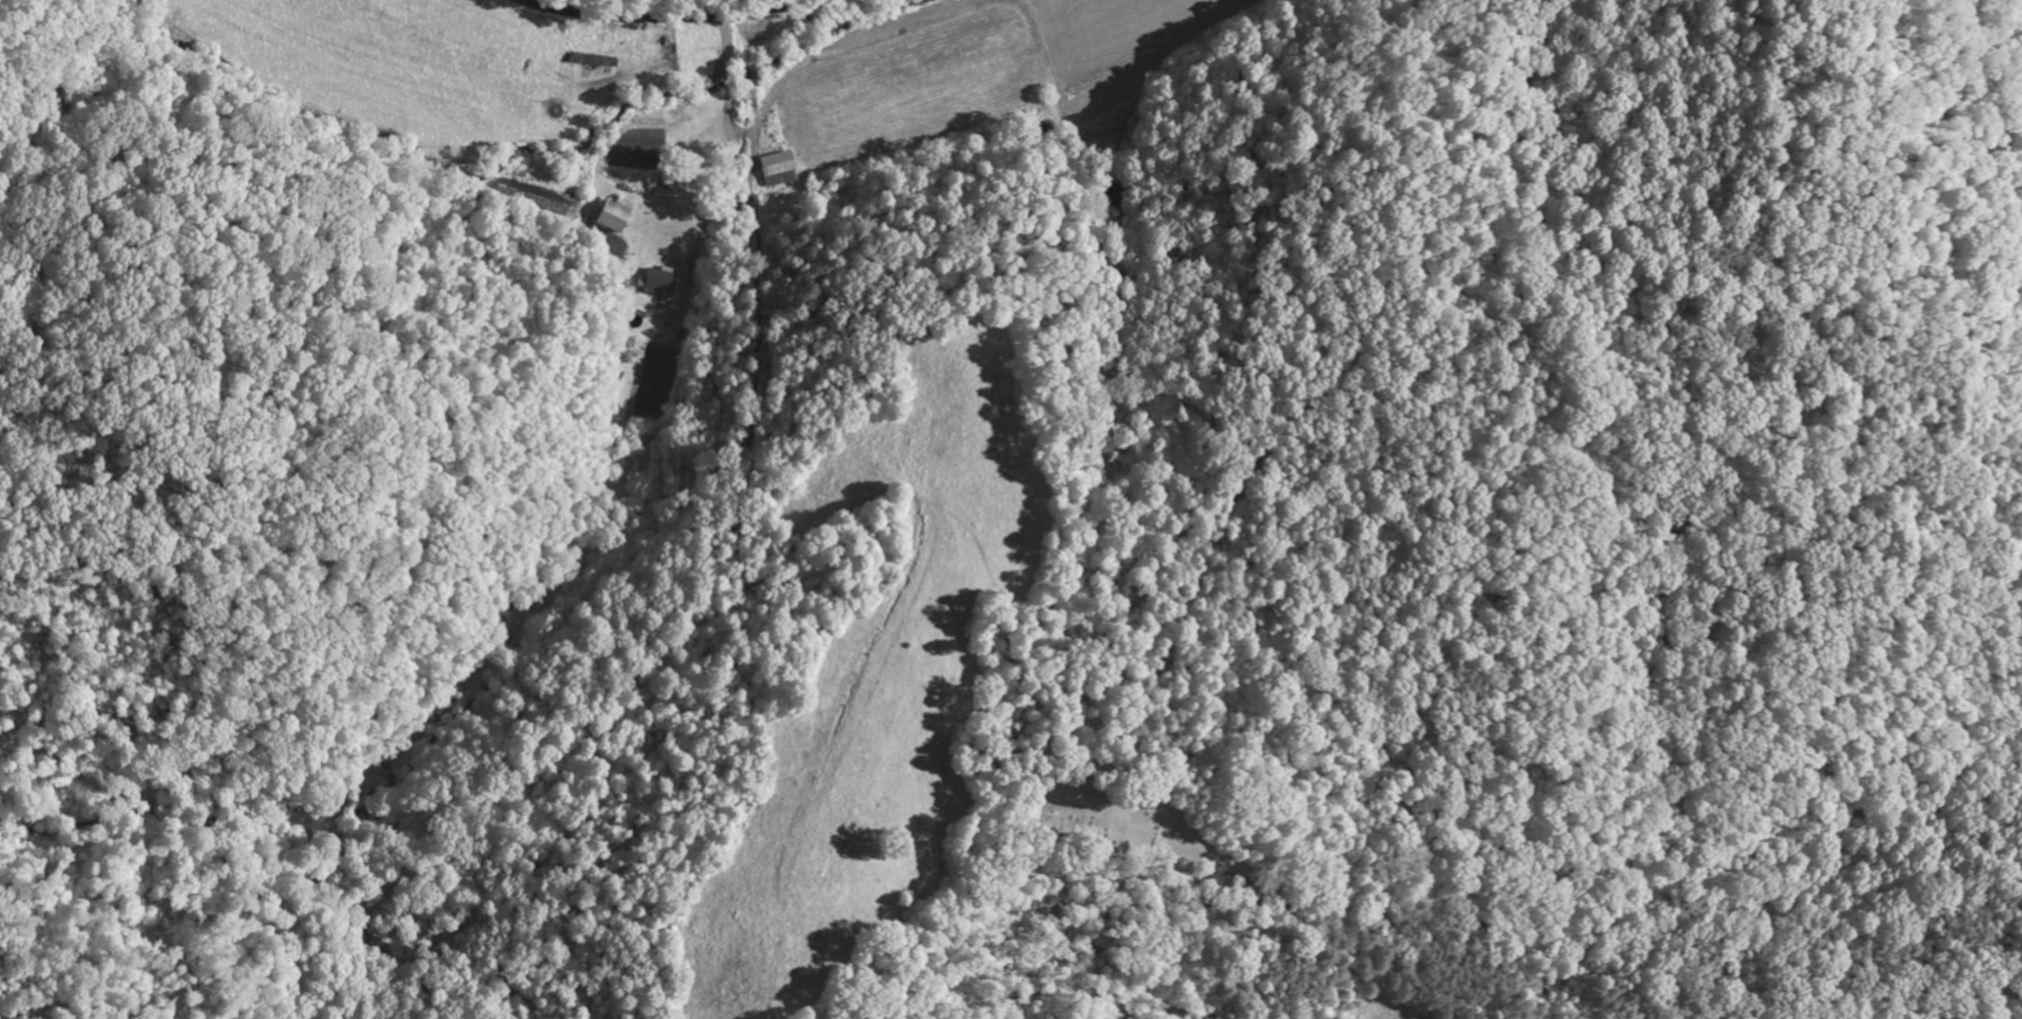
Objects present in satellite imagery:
road: (681, 20)
building: (588, 62)
road: (1041, 122)
building: (690, 188)
building: (614, 216)
building: (656, 285)
road: (1607, 919)

